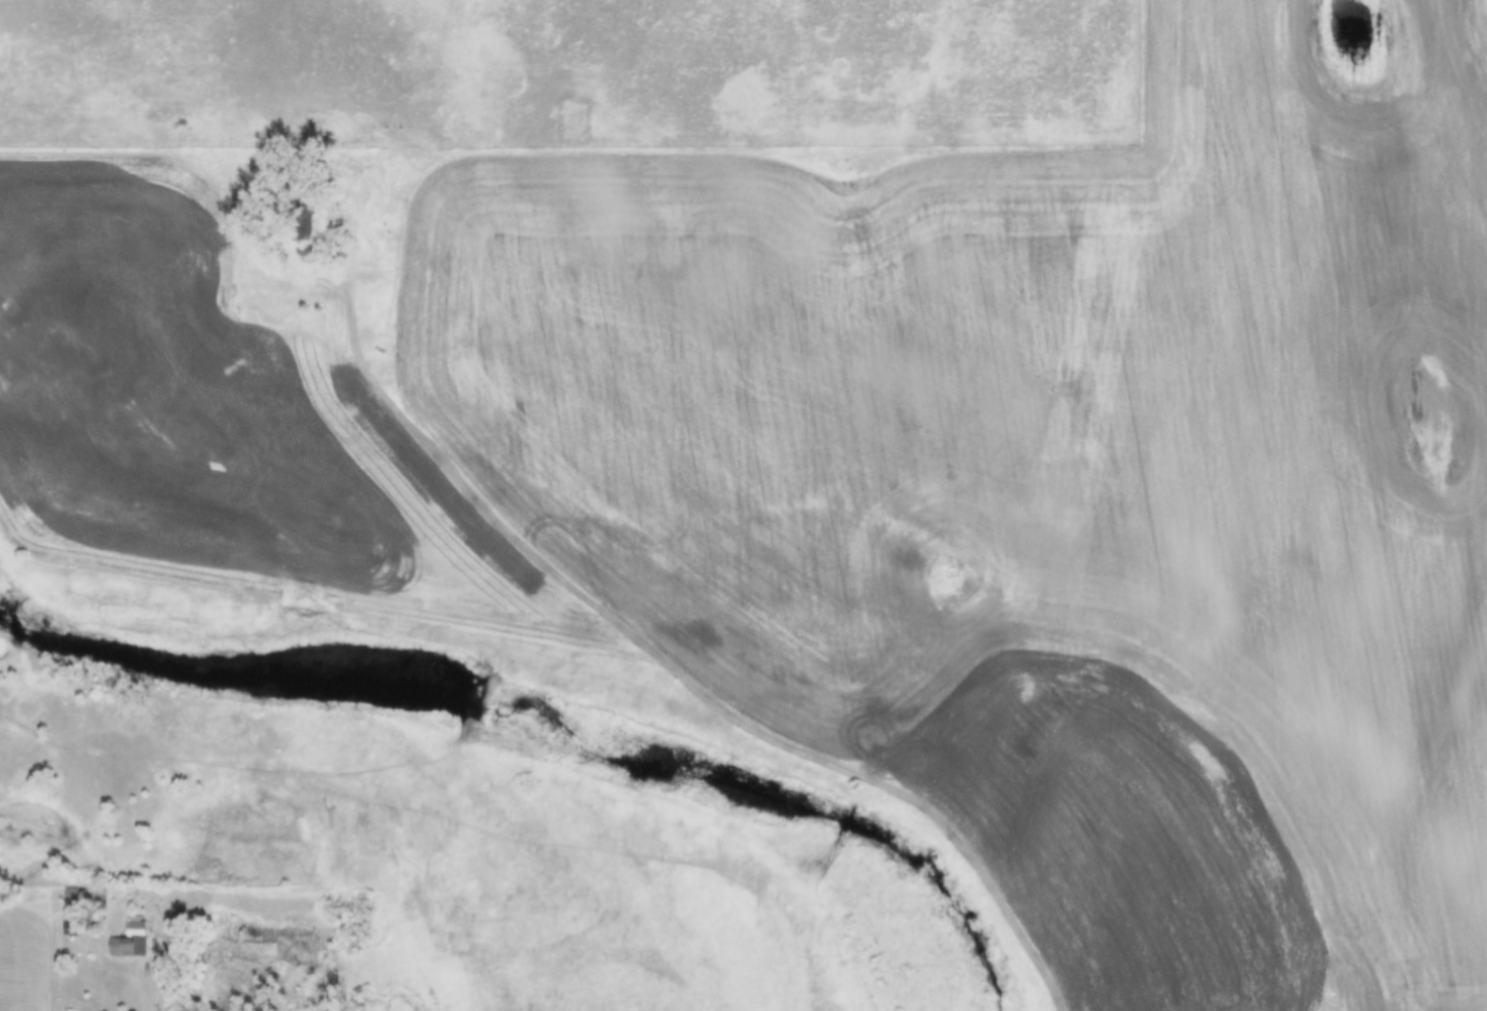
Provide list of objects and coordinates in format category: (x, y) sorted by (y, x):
road: (653, 650)
building: (134, 928)
building: (121, 946)
road: (159, 977)

